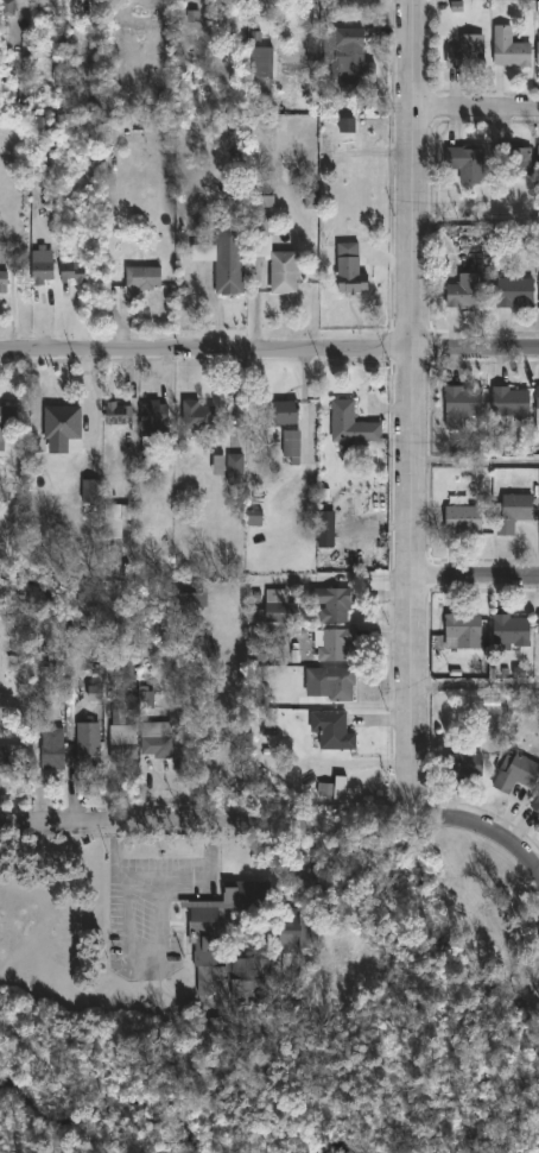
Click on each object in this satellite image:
building: (537, 7)
building: (509, 49)
building: (537, 51)
building: (350, 52)
building: (464, 52)
road: (474, 105)
building: (537, 156)
building: (514, 160)
building: (463, 163)
building: (264, 222)
road: (474, 223)
building: (229, 260)
building: (347, 269)
building: (42, 271)
building: (285, 272)
building: (71, 275)
building: (145, 278)
building: (4, 282)
building: (464, 290)
building: (514, 291)
road: (268, 353)
building: (508, 401)
building: (461, 403)
building: (535, 404)
road: (410, 407)
building: (285, 411)
building: (121, 412)
building: (199, 415)
building: (64, 421)
building: (6, 422)
building: (156, 422)
building: (349, 423)
building: (293, 445)
building: (237, 467)
road: (474, 470)
building: (93, 484)
building: (511, 511)
building: (114, 516)
building: (462, 518)
road: (474, 581)
building: (194, 597)
building: (332, 604)
building: (278, 606)
building: (537, 624)
building: (508, 629)
building: (461, 630)
building: (332, 642)
building: (39, 657)
building: (99, 659)
building: (332, 680)
road: (474, 691)
building: (142, 698)
building: (329, 729)
building: (122, 735)
building: (158, 738)
building: (88, 744)
building: (52, 748)
building: (14, 756)
building: (461, 762)
building: (515, 771)
building: (340, 787)
building: (535, 804)
road: (112, 821)
road: (237, 821)
road: (480, 834)
road: (164, 877)
building: (298, 944)
park: (290, 1091)

